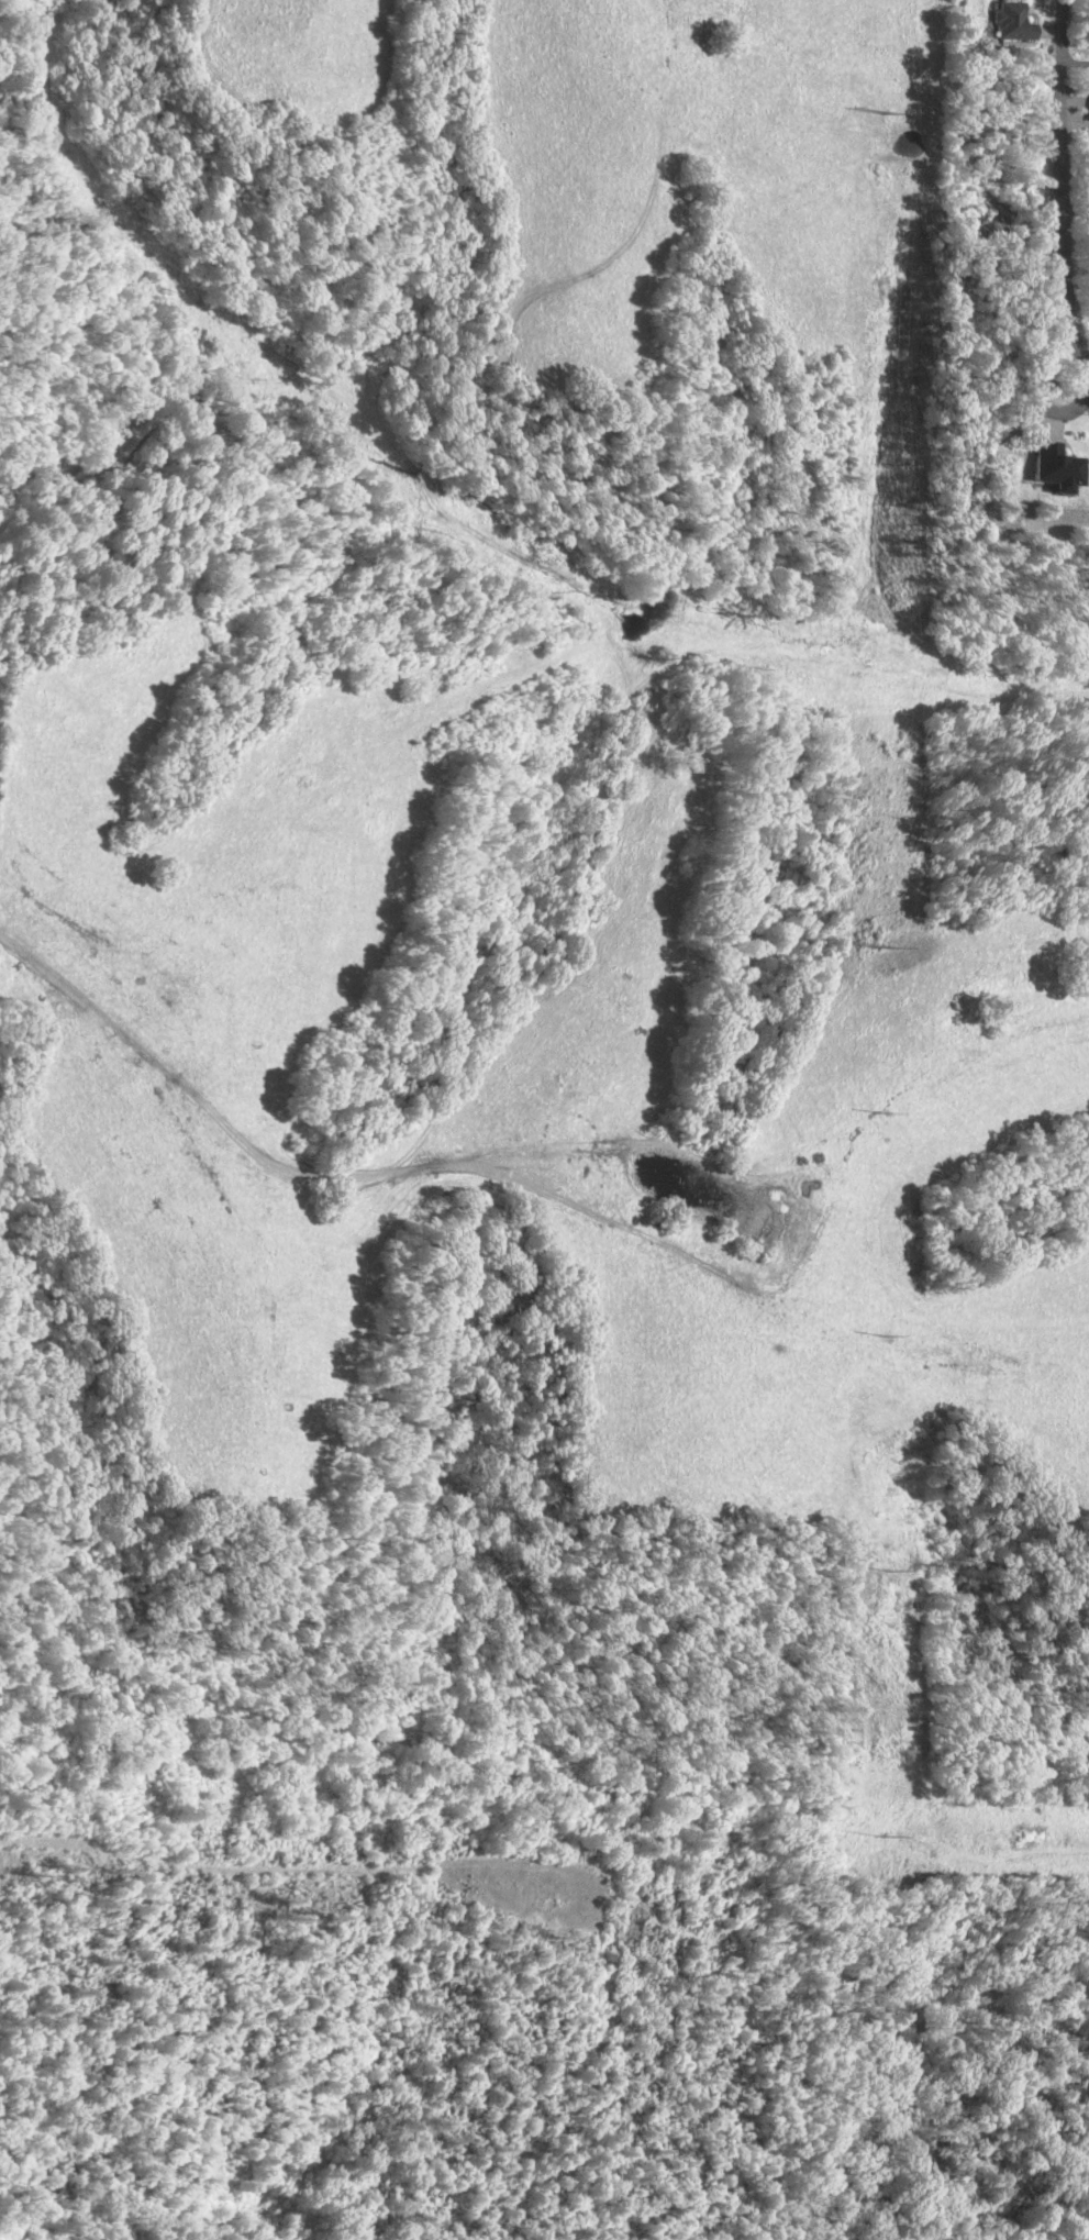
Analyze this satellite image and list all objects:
building: (1011, 21)
road: (1064, 32)
road: (1024, 62)
building: (1088, 110)
road: (1065, 224)
building: (1054, 466)
road: (1038, 2163)

